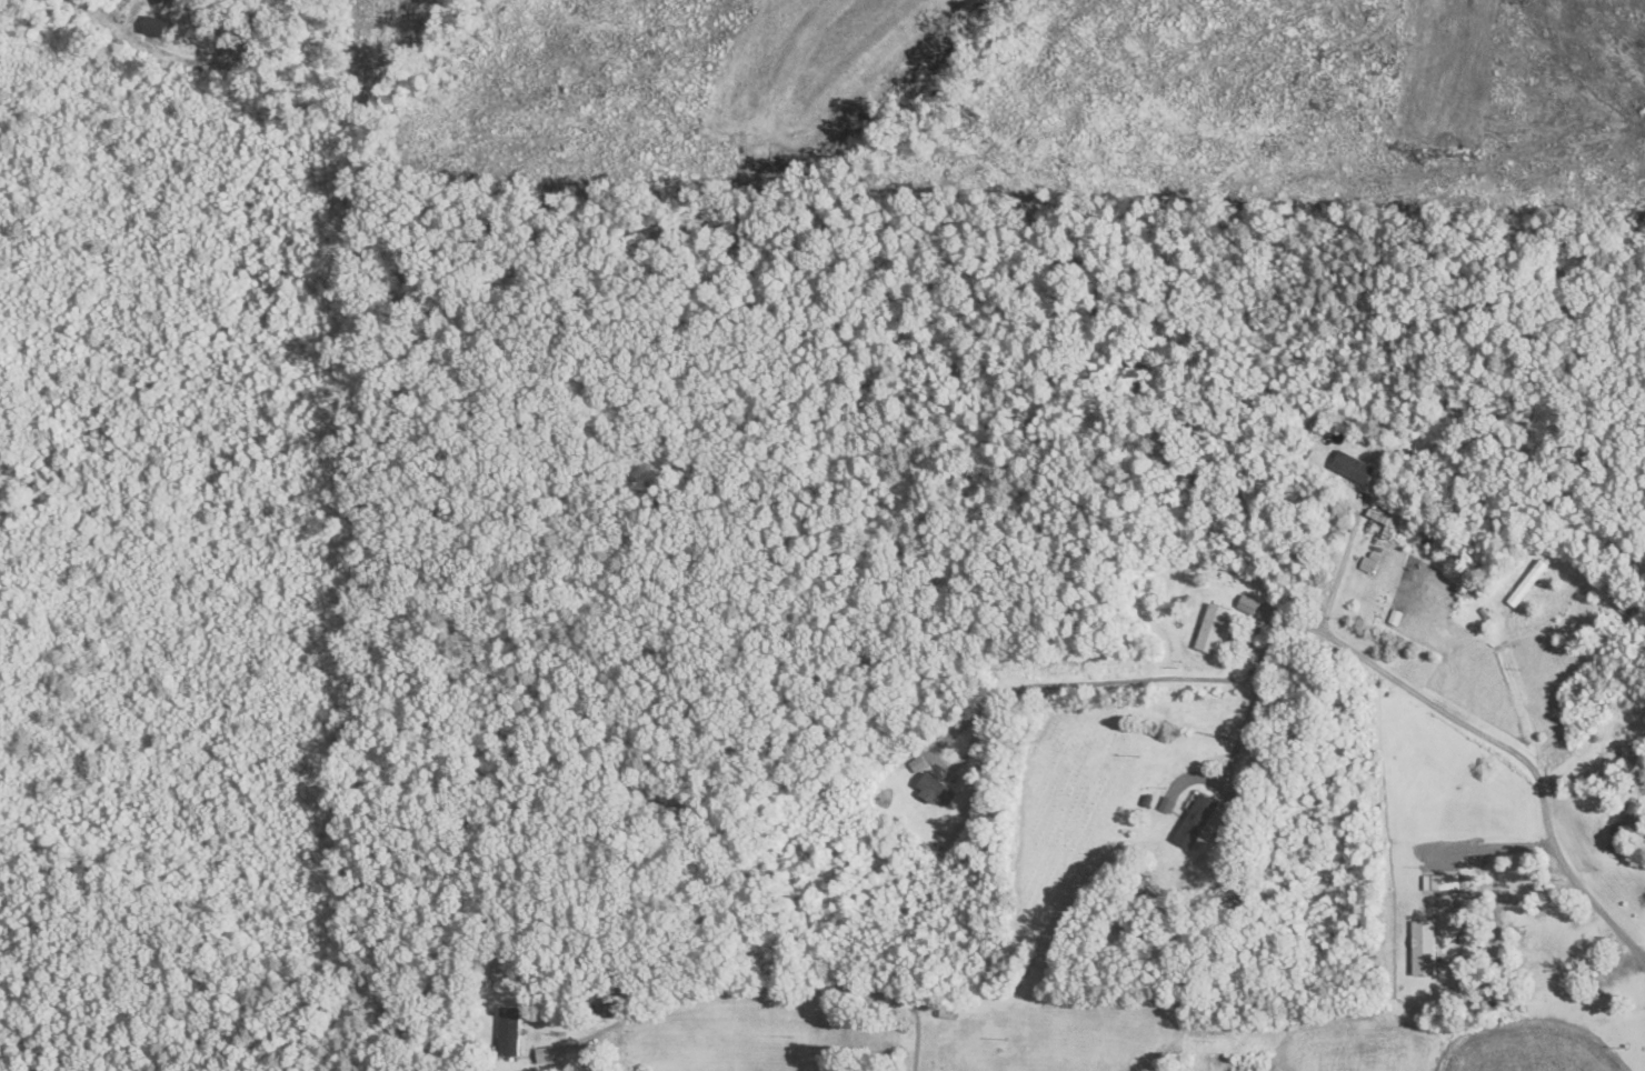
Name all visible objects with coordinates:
building: (1354, 468)
road: (1343, 568)
building: (1528, 583)
building: (1215, 629)
road: (1374, 662)
road: (973, 723)
road: (1246, 725)
building: (936, 790)
building: (1196, 821)
building: (1623, 827)
road: (1480, 845)
building: (1438, 882)
building: (1424, 948)
building: (1545, 948)
road: (768, 987)
building: (509, 1032)

